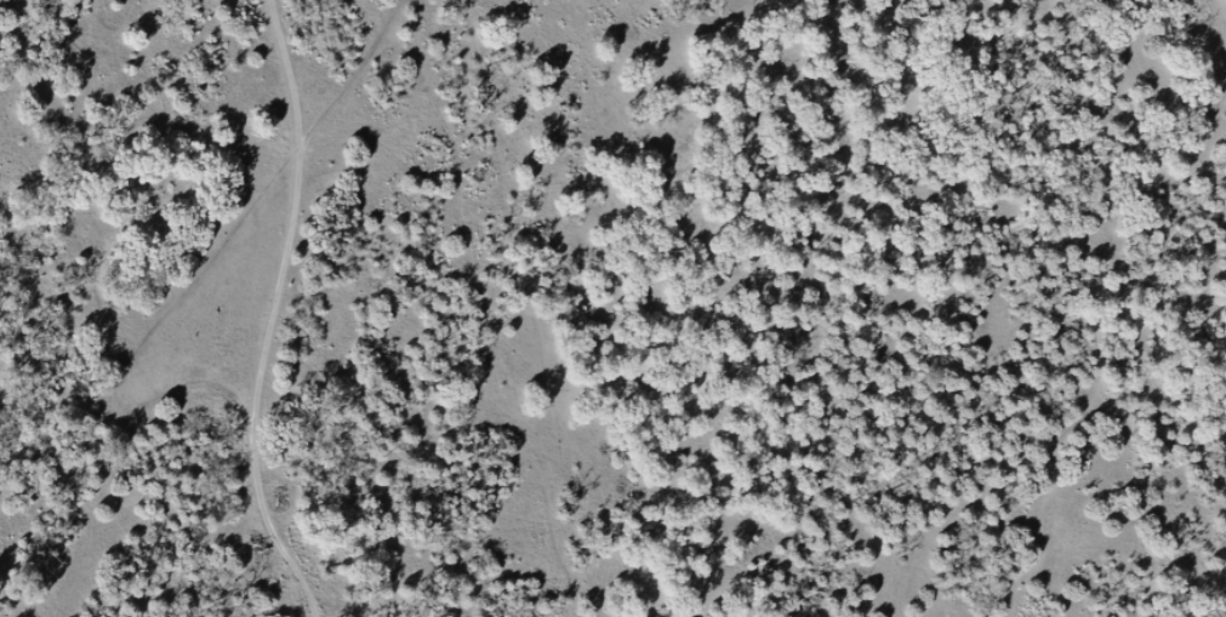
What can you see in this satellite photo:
road: (280, 313)

